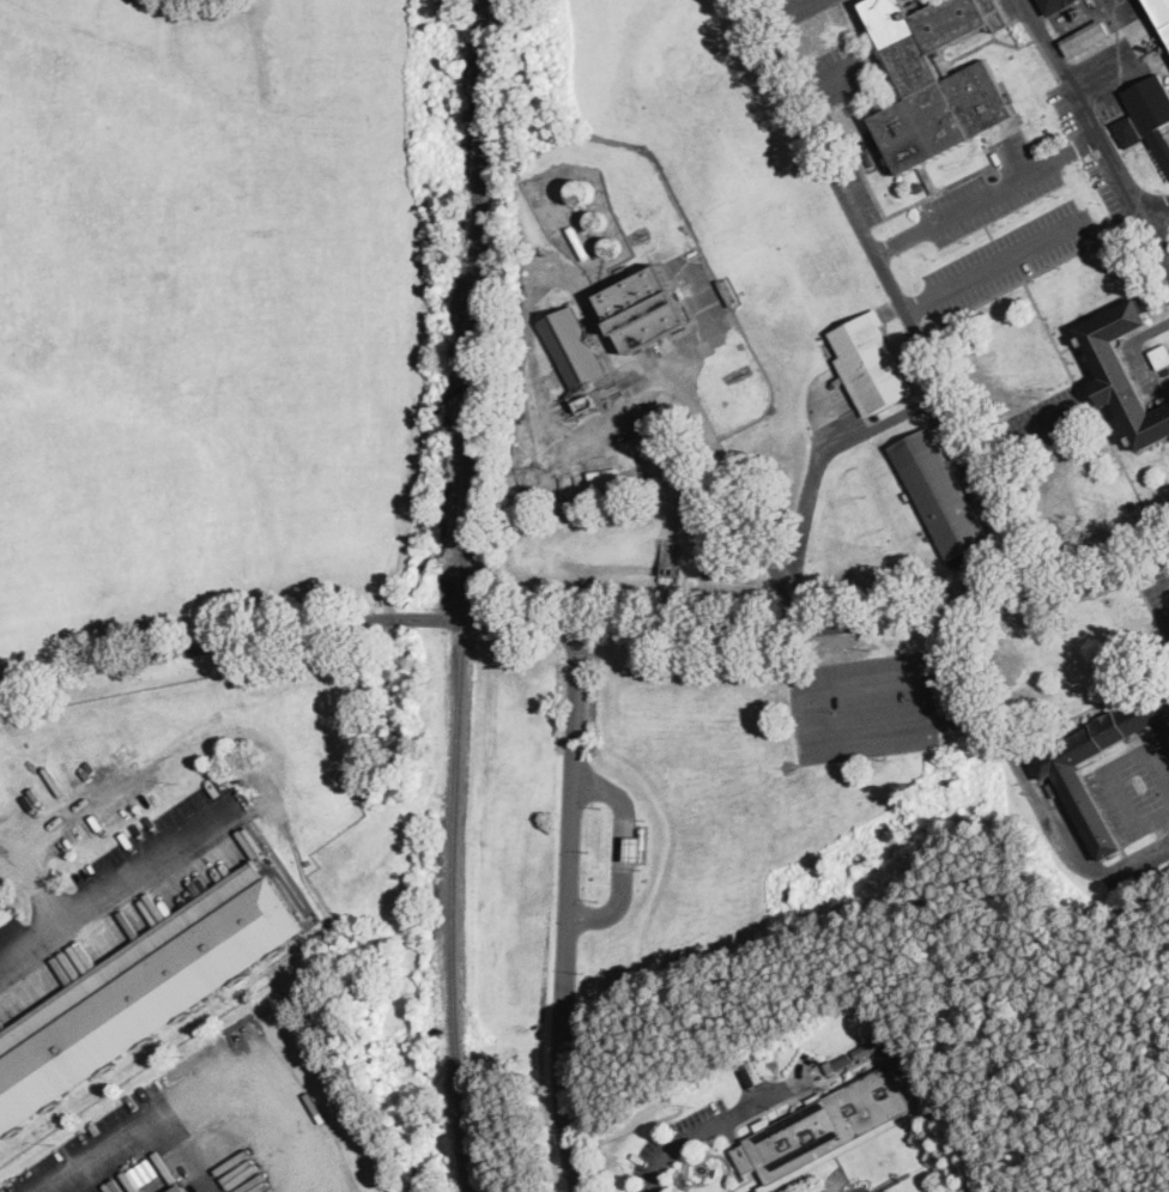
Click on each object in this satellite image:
building: (1055, 5)
parking lot: (804, 8)
road: (777, 10)
building: (1077, 13)
building: (1159, 14)
road: (1080, 20)
building: (1085, 38)
parking lot: (838, 72)
road: (829, 78)
building: (937, 79)
building: (1146, 116)
road: (1097, 132)
road: (1006, 153)
parking lot: (1091, 156)
parking lot: (994, 184)
building: (917, 186)
parking lot: (860, 190)
road: (987, 193)
road: (1157, 211)
parking lot: (1009, 256)
road: (994, 262)
building: (727, 291)
road: (897, 297)
building: (644, 309)
building: (573, 349)
building: (1161, 356)
building: (870, 363)
building: (1123, 373)
road: (885, 420)
parking lot: (1043, 420)
road: (1028, 431)
building: (606, 480)
park: (654, 492)
building: (940, 495)
road: (807, 504)
road: (1161, 577)
railway: (461, 595)
parking lot: (1159, 599)
road: (587, 625)
road: (958, 649)
parking lot: (862, 706)
road: (800, 716)
road: (1003, 739)
building: (1058, 769)
road: (1107, 769)
road: (1163, 812)
parking lot: (1121, 813)
road: (1162, 827)
building: (636, 846)
road: (619, 852)
road: (1094, 871)
road: (40, 888)
road: (119, 891)
parking lot: (123, 895)
road: (570, 909)
building: (141, 992)
building: (885, 1035)
building: (867, 1047)
building: (842, 1060)
building: (872, 1064)
building: (829, 1067)
building: (904, 1070)
building: (752, 1072)
road: (194, 1095)
road: (713, 1125)
building: (825, 1130)
parking lot: (115, 1152)
road: (327, 1178)
building: (178, 1188)

